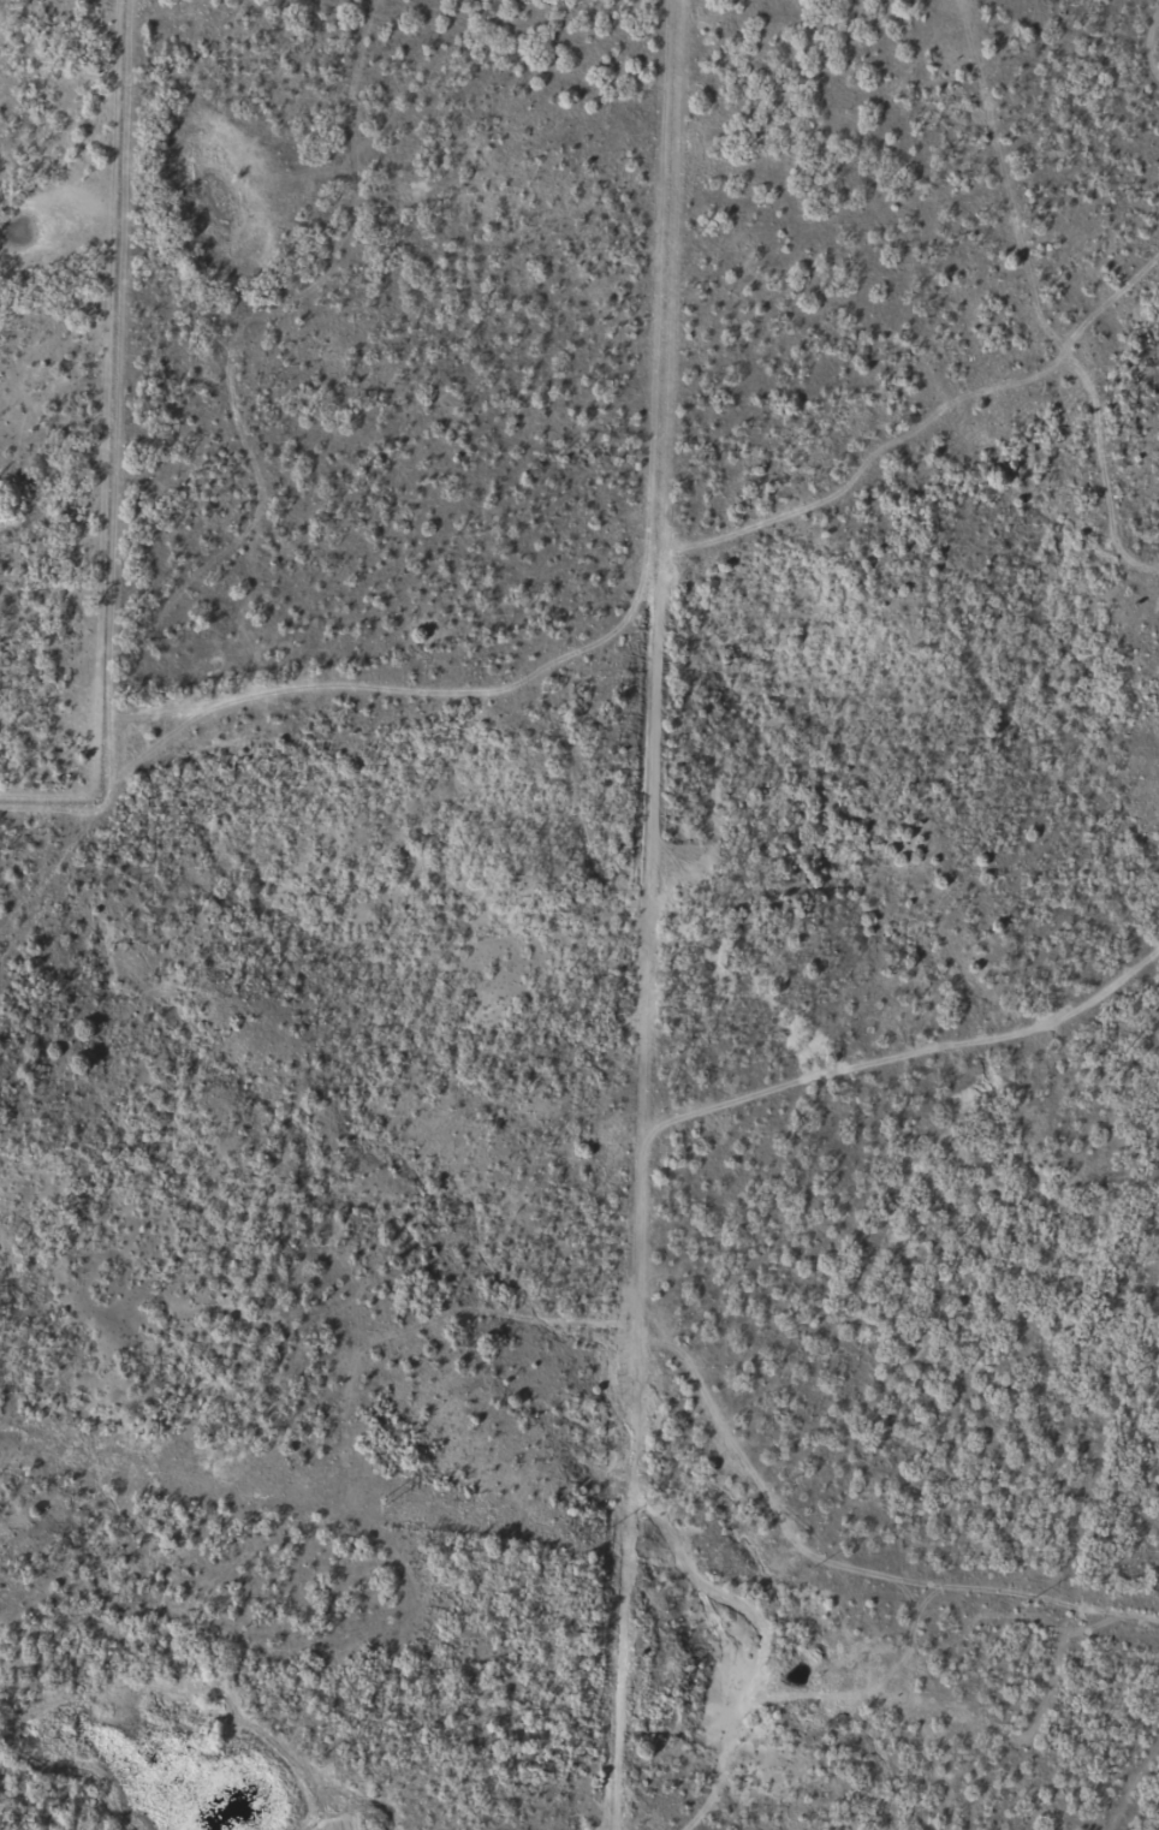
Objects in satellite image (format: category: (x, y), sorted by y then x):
road: (273, 393)

